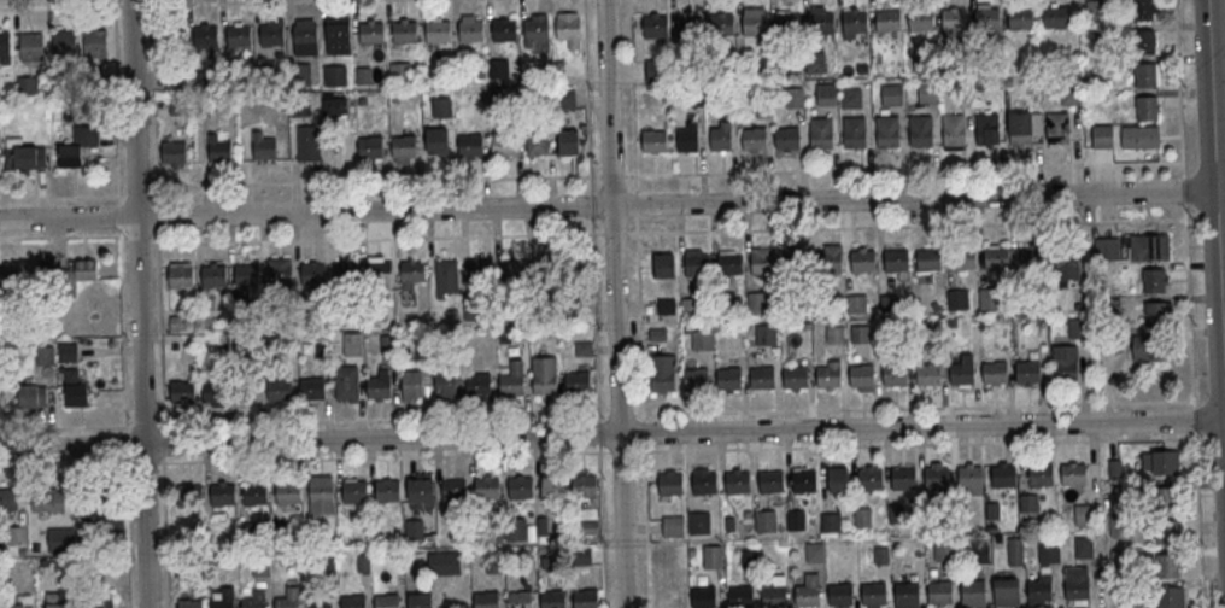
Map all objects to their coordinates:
road: (115, 2)
road: (150, 2)
road: (234, 2)
road: (72, 6)
building: (1143, 8)
building: (1096, 10)
building: (1054, 16)
building: (920, 18)
building: (1020, 18)
building: (887, 19)
building: (953, 19)
building: (986, 19)
building: (821, 22)
building: (854, 22)
building: (754, 23)
building: (787, 23)
building: (721, 24)
building: (687, 25)
building: (655, 27)
building: (567, 28)
building: (535, 29)
building: (504, 30)
building: (438, 31)
building: (471, 31)
building: (272, 33)
building: (404, 33)
building: (371, 34)
building: (239, 35)
building: (338, 35)
building: (174, 36)
building: (205, 36)
building: (305, 40)
building: (1144, 40)
building: (94, 42)
building: (4, 45)
building: (64, 45)
building: (30, 46)
building: (815, 63)
building: (924, 63)
building: (498, 69)
building: (656, 70)
building: (299, 74)
building: (399, 74)
building: (1144, 74)
building: (334, 75)
building: (363, 75)
building: (28, 83)
building: (175, 83)
road: (1179, 88)
building: (962, 92)
building: (1071, 92)
building: (926, 93)
road: (631, 94)
building: (825, 94)
building: (891, 94)
road: (152, 95)
road: (586, 95)
building: (696, 97)
building: (729, 97)
building: (795, 98)
building: (850, 98)
building: (565, 100)
road: (117, 101)
building: (300, 106)
building: (332, 107)
building: (441, 107)
building: (1145, 107)
building: (762, 109)
building: (1020, 128)
building: (1057, 128)
building: (953, 129)
building: (986, 129)
building: (886, 130)
building: (920, 130)
building: (854, 131)
building: (820, 133)
building: (1101, 135)
building: (720, 136)
building: (1139, 136)
building: (687, 138)
building: (754, 138)
building: (786, 138)
building: (537, 139)
building: (438, 140)
building: (653, 140)
building: (567, 141)
building: (309, 142)
building: (502, 145)
building: (403, 146)
building: (470, 146)
building: (370, 147)
building: (265, 148)
building: (75, 150)
building: (219, 151)
building: (174, 152)
building: (22, 153)
road: (904, 169)
road: (612, 175)
road: (359, 181)
road: (1184, 189)
road: (1217, 197)
road: (634, 203)
road: (591, 204)
road: (608, 205)
road: (904, 224)
road: (612, 234)
road: (60, 236)
road: (135, 239)
road: (375, 240)
building: (1148, 246)
building: (1107, 249)
building: (1031, 255)
building: (963, 258)
building: (996, 258)
building: (928, 259)
building: (862, 261)
building: (896, 261)
building: (828, 262)
building: (762, 263)
building: (796, 263)
building: (696, 264)
building: (729, 264)
building: (1067, 264)
building: (664, 265)
building: (522, 267)
building: (84, 269)
building: (279, 270)
building: (479, 270)
building: (412, 271)
building: (312, 274)
building: (345, 274)
building: (380, 274)
building: (246, 275)
building: (213, 276)
building: (181, 277)
building: (446, 277)
building: (10, 279)
building: (1154, 279)
building: (989, 298)
building: (957, 299)
building: (757, 300)
building: (1024, 300)
road: (1223, 302)
road: (140, 303)
road: (615, 303)
building: (887, 303)
road: (1189, 303)
building: (666, 304)
building: (856, 304)
building: (688, 306)
building: (1156, 312)
road: (122, 314)
road: (594, 317)
road: (639, 317)
building: (178, 321)
building: (41, 323)
building: (1077, 327)
building: (764, 333)
building: (858, 333)
building: (834, 334)
building: (702, 338)
building: (1110, 341)
building: (352, 343)
building: (387, 344)
building: (1147, 346)
building: (68, 352)
building: (45, 355)
building: (1063, 362)
building: (962, 370)
building: (662, 372)
building: (995, 372)
building: (1027, 372)
building: (544, 374)
building: (895, 374)
building: (927, 374)
building: (828, 375)
building: (861, 375)
building: (796, 376)
building: (728, 378)
building: (761, 378)
building: (511, 379)
building: (694, 379)
building: (578, 381)
building: (444, 382)
building: (347, 384)
building: (411, 384)
building: (477, 384)
building: (379, 387)
building: (74, 388)
building: (280, 388)
building: (312, 388)
building: (246, 390)
building: (215, 391)
building: (182, 392)
building: (28, 396)
road: (913, 407)
road: (620, 414)
road: (1194, 419)
road: (265, 423)
road: (643, 429)
road: (599, 432)
road: (1195, 434)
road: (612, 435)
road: (920, 444)
road: (621, 451)
road: (368, 457)
building: (1166, 462)
road: (129, 469)
building: (1073, 474)
building: (1003, 475)
building: (1039, 475)
building: (969, 477)
building: (903, 478)
building: (937, 478)
building: (837, 479)
building: (869, 479)
building: (770, 481)
building: (804, 481)
building: (704, 483)
building: (737, 483)
building: (669, 484)
building: (582, 486)
building: (520, 487)
building: (551, 487)
building: (486, 489)
building: (420, 490)
building: (453, 490)
building: (387, 491)
building: (354, 492)
building: (1125, 492)
building: (188, 493)
building: (254, 493)
building: (288, 493)
building: (222, 495)
building: (321, 495)
building: (1165, 498)
building: (8, 499)
building: (48, 501)
building: (1028, 503)
building: (98, 505)
building: (992, 510)
building: (745, 514)
building: (895, 514)
building: (1084, 515)
road: (164, 516)
building: (862, 518)
building: (795, 520)
building: (766, 521)
building: (698, 522)
road: (1198, 522)
road: (646, 524)
building: (729, 524)
building: (830, 524)
road: (602, 526)
building: (672, 526)
building: (1119, 526)
building: (414, 528)
building: (515, 528)
building: (1166, 532)
building: (16, 534)
building: (61, 538)
building: (1085, 546)
building: (945, 550)
building: (1015, 551)
building: (1049, 551)
building: (692, 553)
building: (815, 553)
building: (980, 553)
building: (880, 555)
building: (713, 557)
building: (748, 557)
building: (1121, 559)
building: (444, 561)
building: (259, 566)
building: (1167, 566)
building: (1077, 583)
building: (1006, 590)
building: (1039, 590)
building: (972, 591)
building: (907, 592)
building: (939, 592)
building: (873, 594)
building: (807, 595)
building: (840, 595)
building: (740, 596)
building: (773, 596)
building: (703, 597)
building: (1171, 597)
building: (224, 598)
building: (289, 598)
building: (552, 598)
building: (585, 598)
building: (256, 600)
building: (485, 600)
building: (518, 600)
building: (55, 601)
building: (353, 601)
building: (386, 601)
building: (420, 601)
building: (19, 602)
building: (100, 602)
building: (320, 602)
building: (189, 603)

